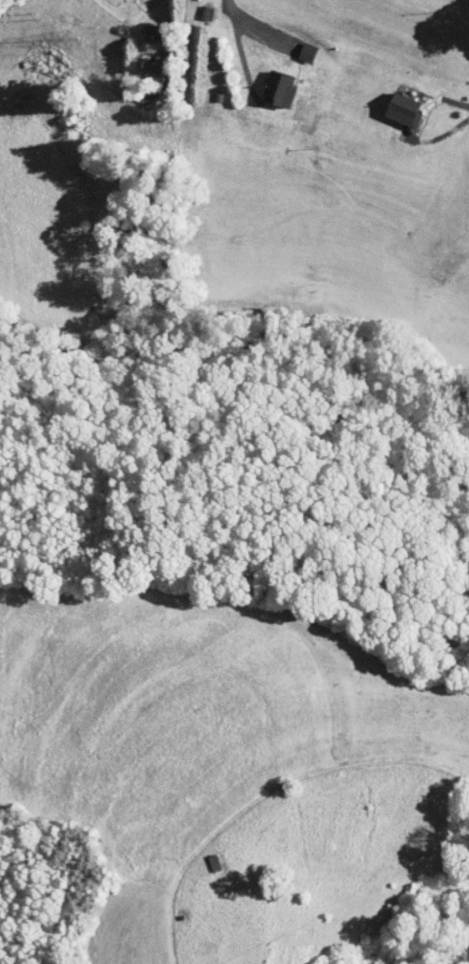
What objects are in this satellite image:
power tower: (34, 15)
road: (252, 25)
power tower: (60, 39)
building: (145, 65)
building: (272, 83)
building: (398, 104)
road: (267, 792)

